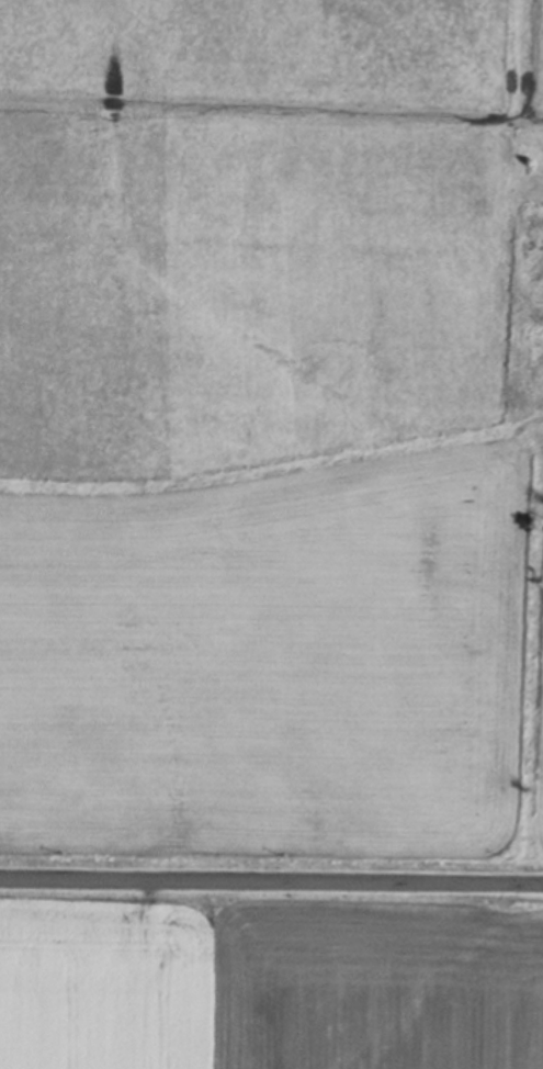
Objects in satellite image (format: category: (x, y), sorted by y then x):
building: (535, 249)
road: (271, 884)

